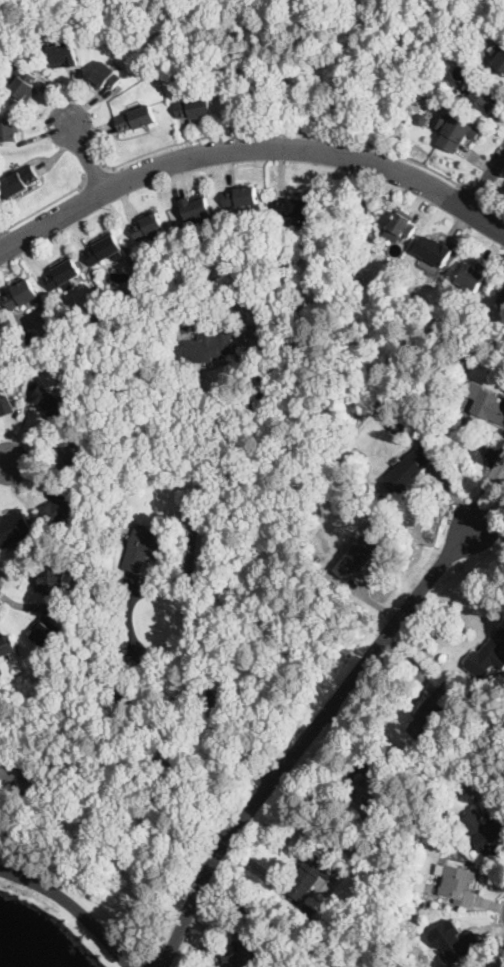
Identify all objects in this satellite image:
building: (63, 55)
building: (499, 58)
building: (106, 77)
building: (24, 82)
building: (484, 98)
building: (194, 108)
building: (136, 119)
building: (421, 119)
road: (293, 128)
building: (9, 130)
building: (455, 132)
road: (250, 145)
road: (86, 157)
road: (95, 173)
road: (486, 178)
building: (19, 182)
road: (480, 194)
building: (241, 197)
road: (45, 203)
building: (196, 207)
road: (500, 207)
building: (294, 208)
building: (403, 224)
building: (147, 226)
building: (105, 251)
building: (436, 252)
building: (63, 276)
building: (473, 276)
building: (196, 281)
building: (144, 290)
building: (203, 292)
building: (21, 295)
building: (502, 299)
building: (418, 303)
building: (245, 304)
building: (290, 338)
building: (31, 339)
building: (207, 346)
building: (13, 386)
building: (5, 402)
building: (50, 402)
building: (486, 403)
building: (425, 434)
building: (67, 454)
road: (491, 460)
road: (4, 462)
building: (409, 470)
building: (60, 510)
building: (15, 529)
building: (140, 549)
building: (356, 558)
road: (190, 564)
building: (52, 580)
road: (474, 585)
building: (43, 632)
building: (7, 646)
building: (488, 658)
building: (122, 698)
building: (432, 715)
building: (483, 720)
road: (307, 738)
building: (13, 768)
building: (384, 769)
building: (368, 792)
building: (490, 831)
building: (308, 876)
building: (458, 884)
building: (326, 887)
road: (74, 905)
building: (424, 905)
building: (251, 911)
building: (310, 912)
building: (328, 933)
building: (454, 941)
building: (242, 958)
building: (307, 964)

